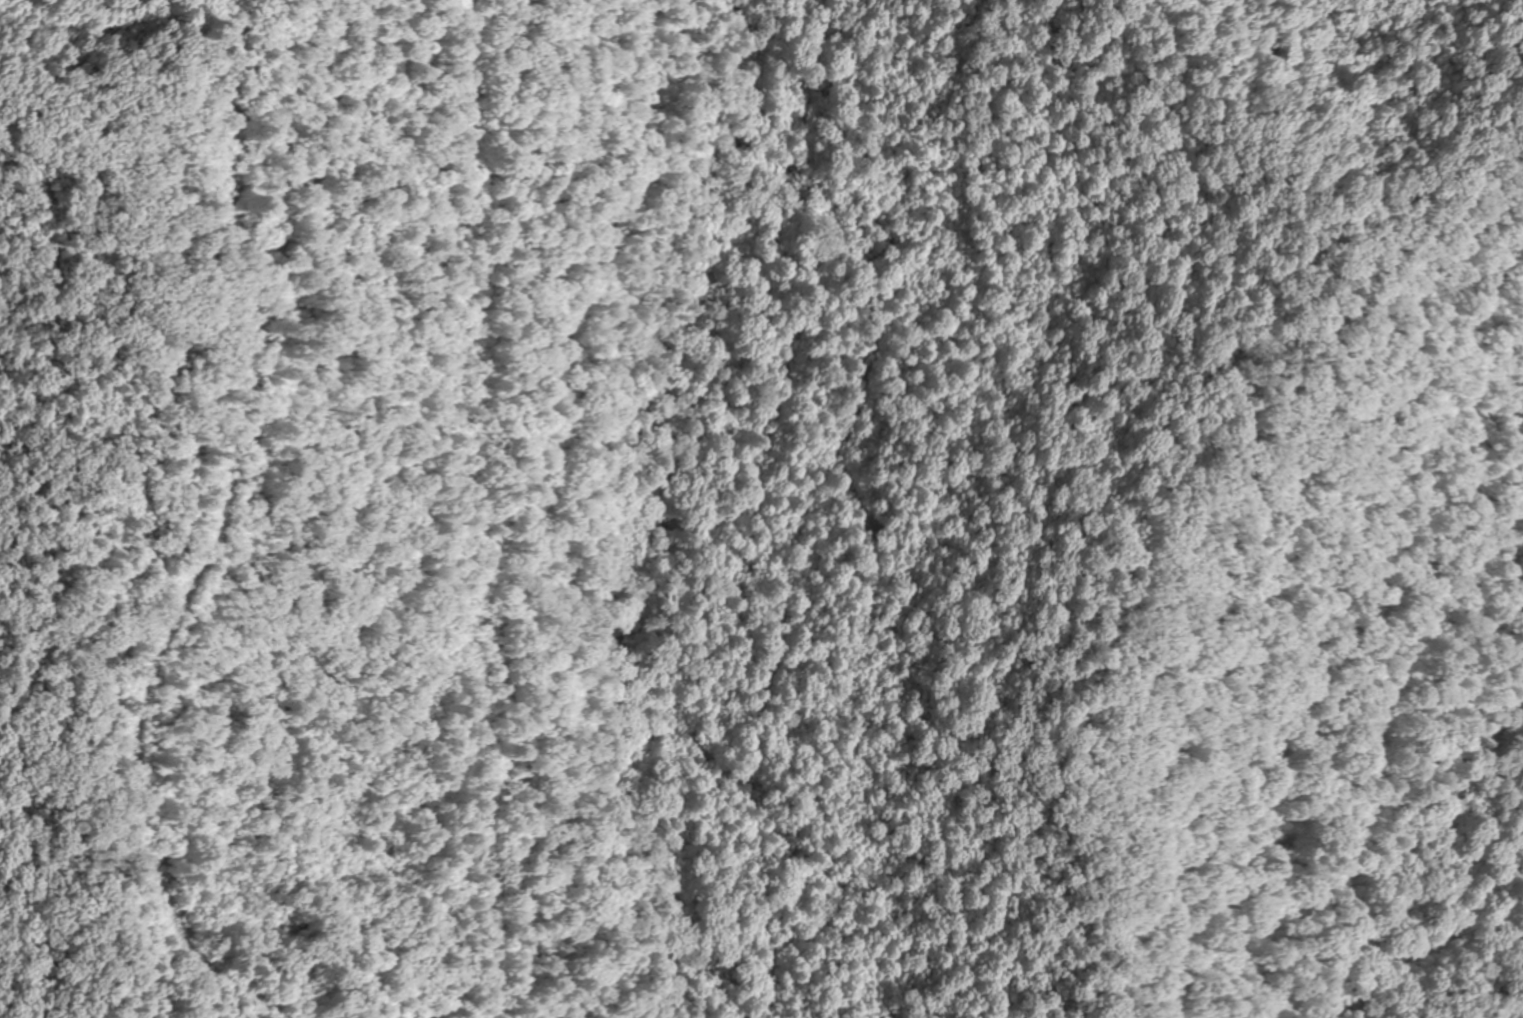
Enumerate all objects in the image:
road: (774, 396)

